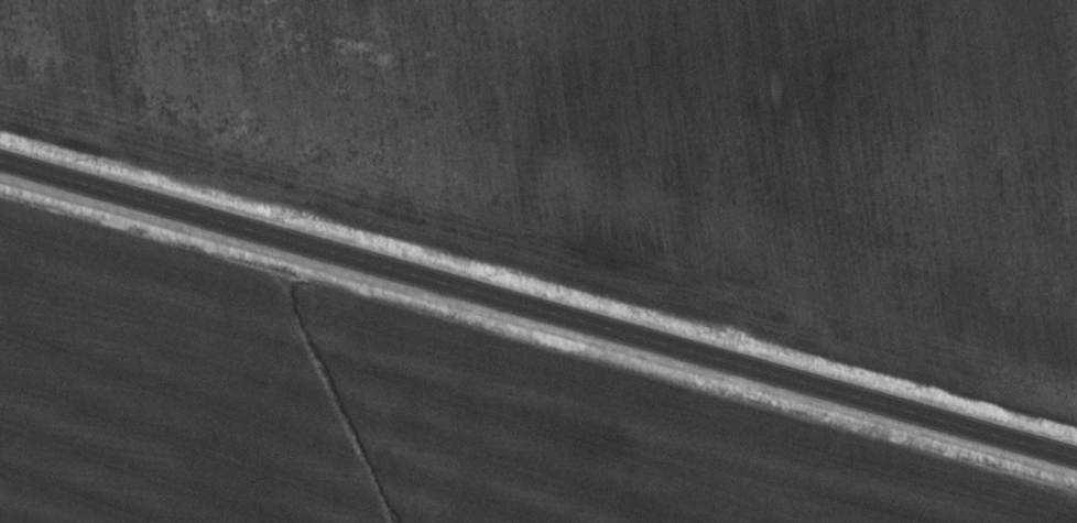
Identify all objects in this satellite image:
road: (538, 307)

